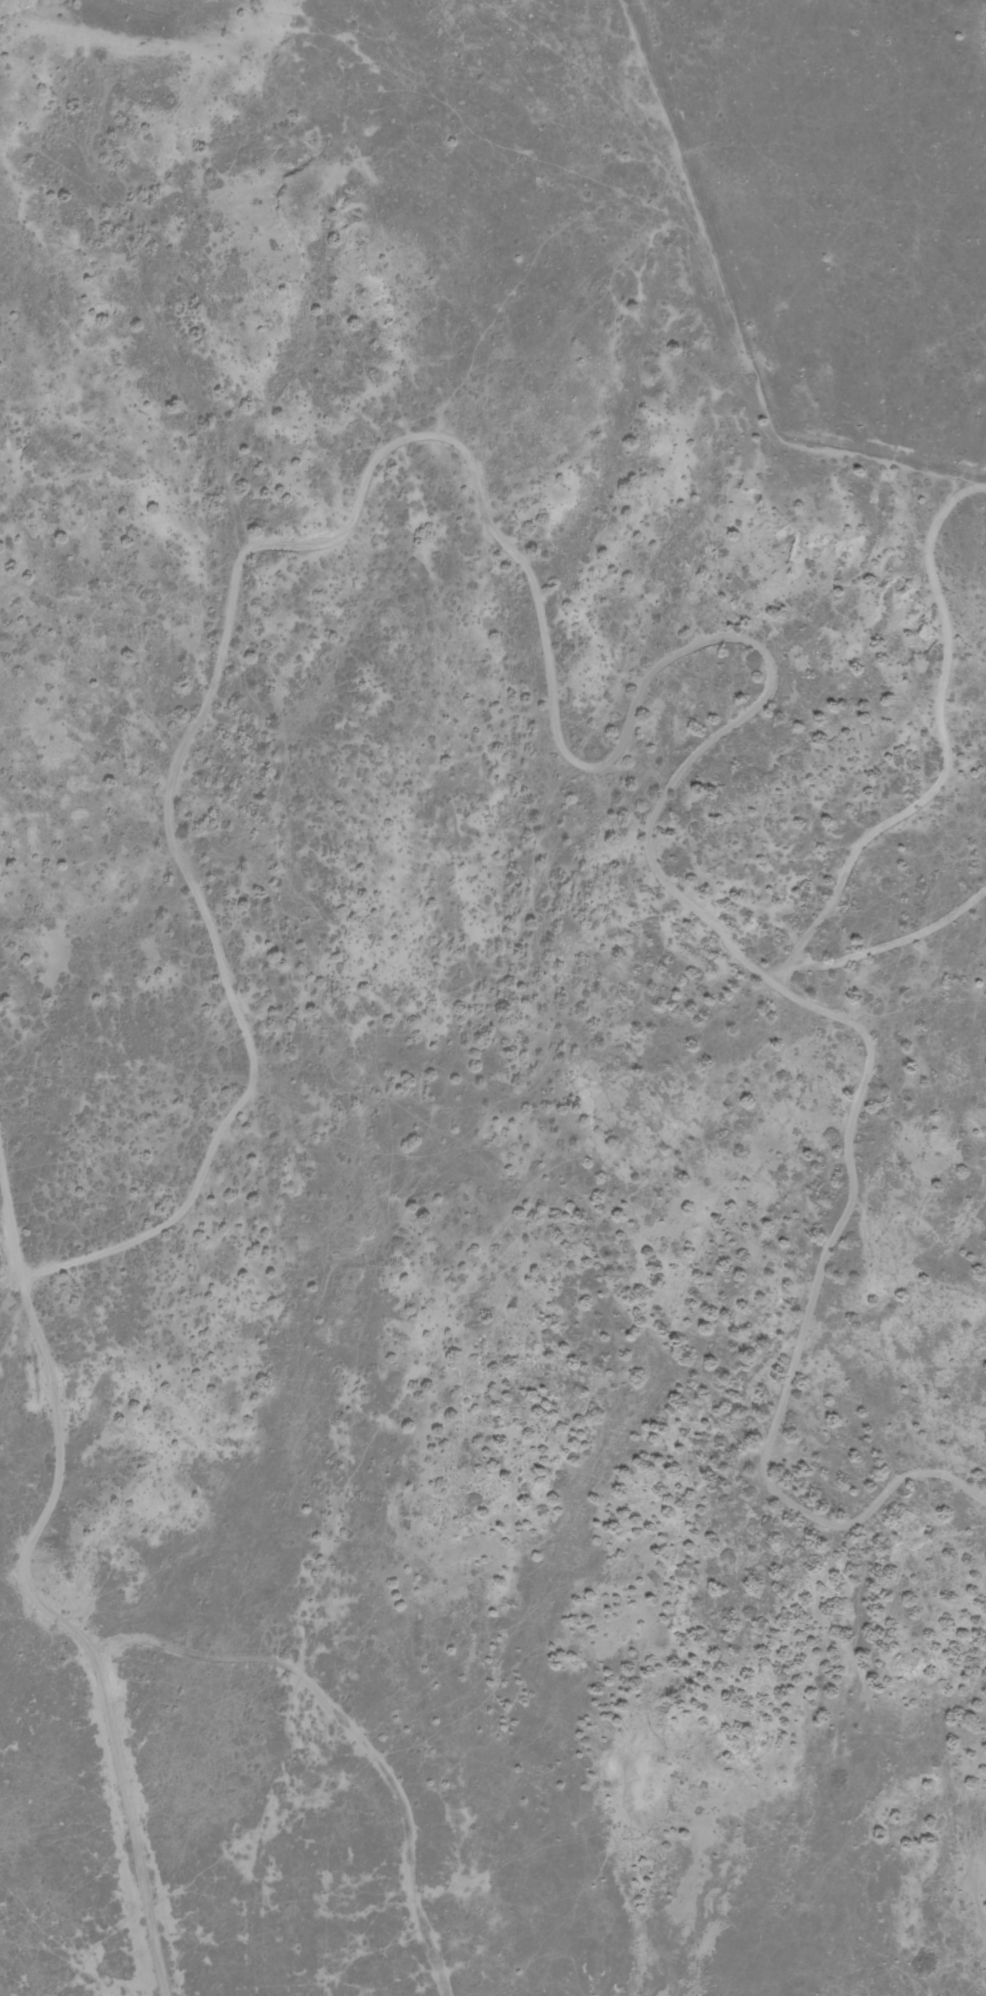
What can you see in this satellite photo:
road: (167, 812)
road: (873, 832)
road: (10, 1231)
road: (801, 1326)
road: (134, 1821)

